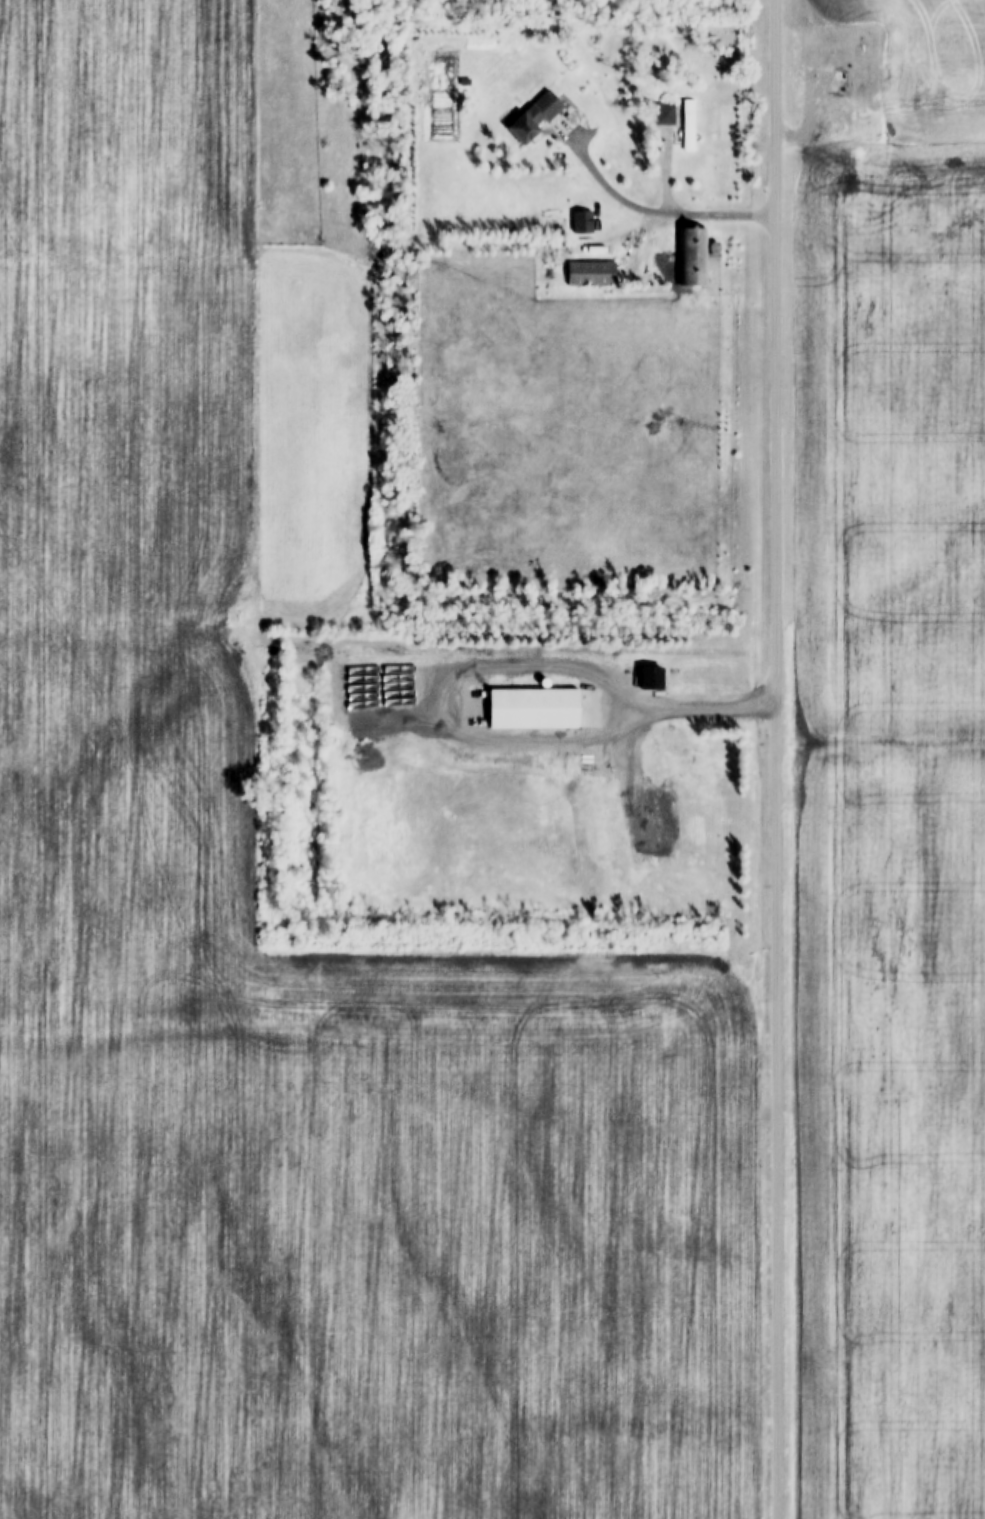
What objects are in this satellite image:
crop: (911, 69)
road: (649, 213)
road: (534, 251)
crop: (162, 333)
road: (645, 711)
road: (776, 759)
crop: (892, 833)
crop: (336, 1163)

